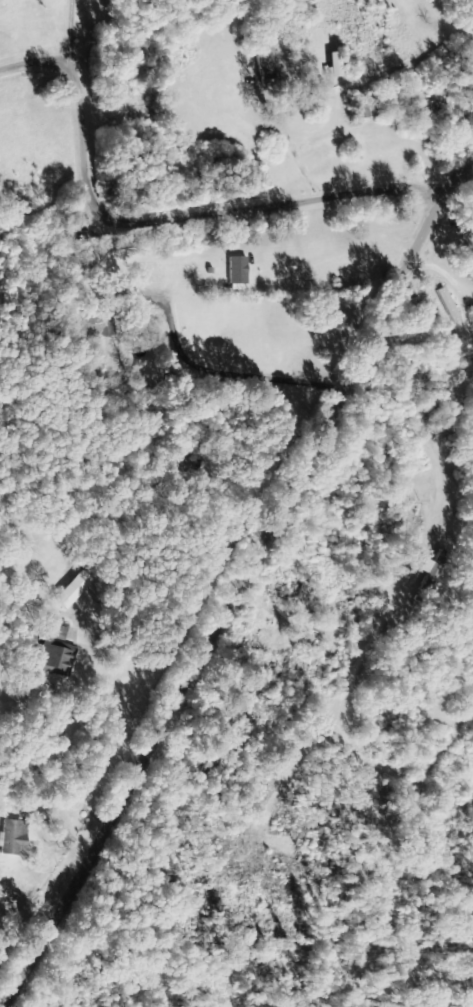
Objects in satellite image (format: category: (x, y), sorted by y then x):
building: (338, 64)
building: (270, 65)
building: (432, 103)
building: (467, 229)
building: (241, 272)
road: (258, 304)
building: (111, 321)
building: (434, 570)
road: (229, 587)
building: (77, 590)
building: (304, 598)
building: (60, 652)
building: (16, 837)

